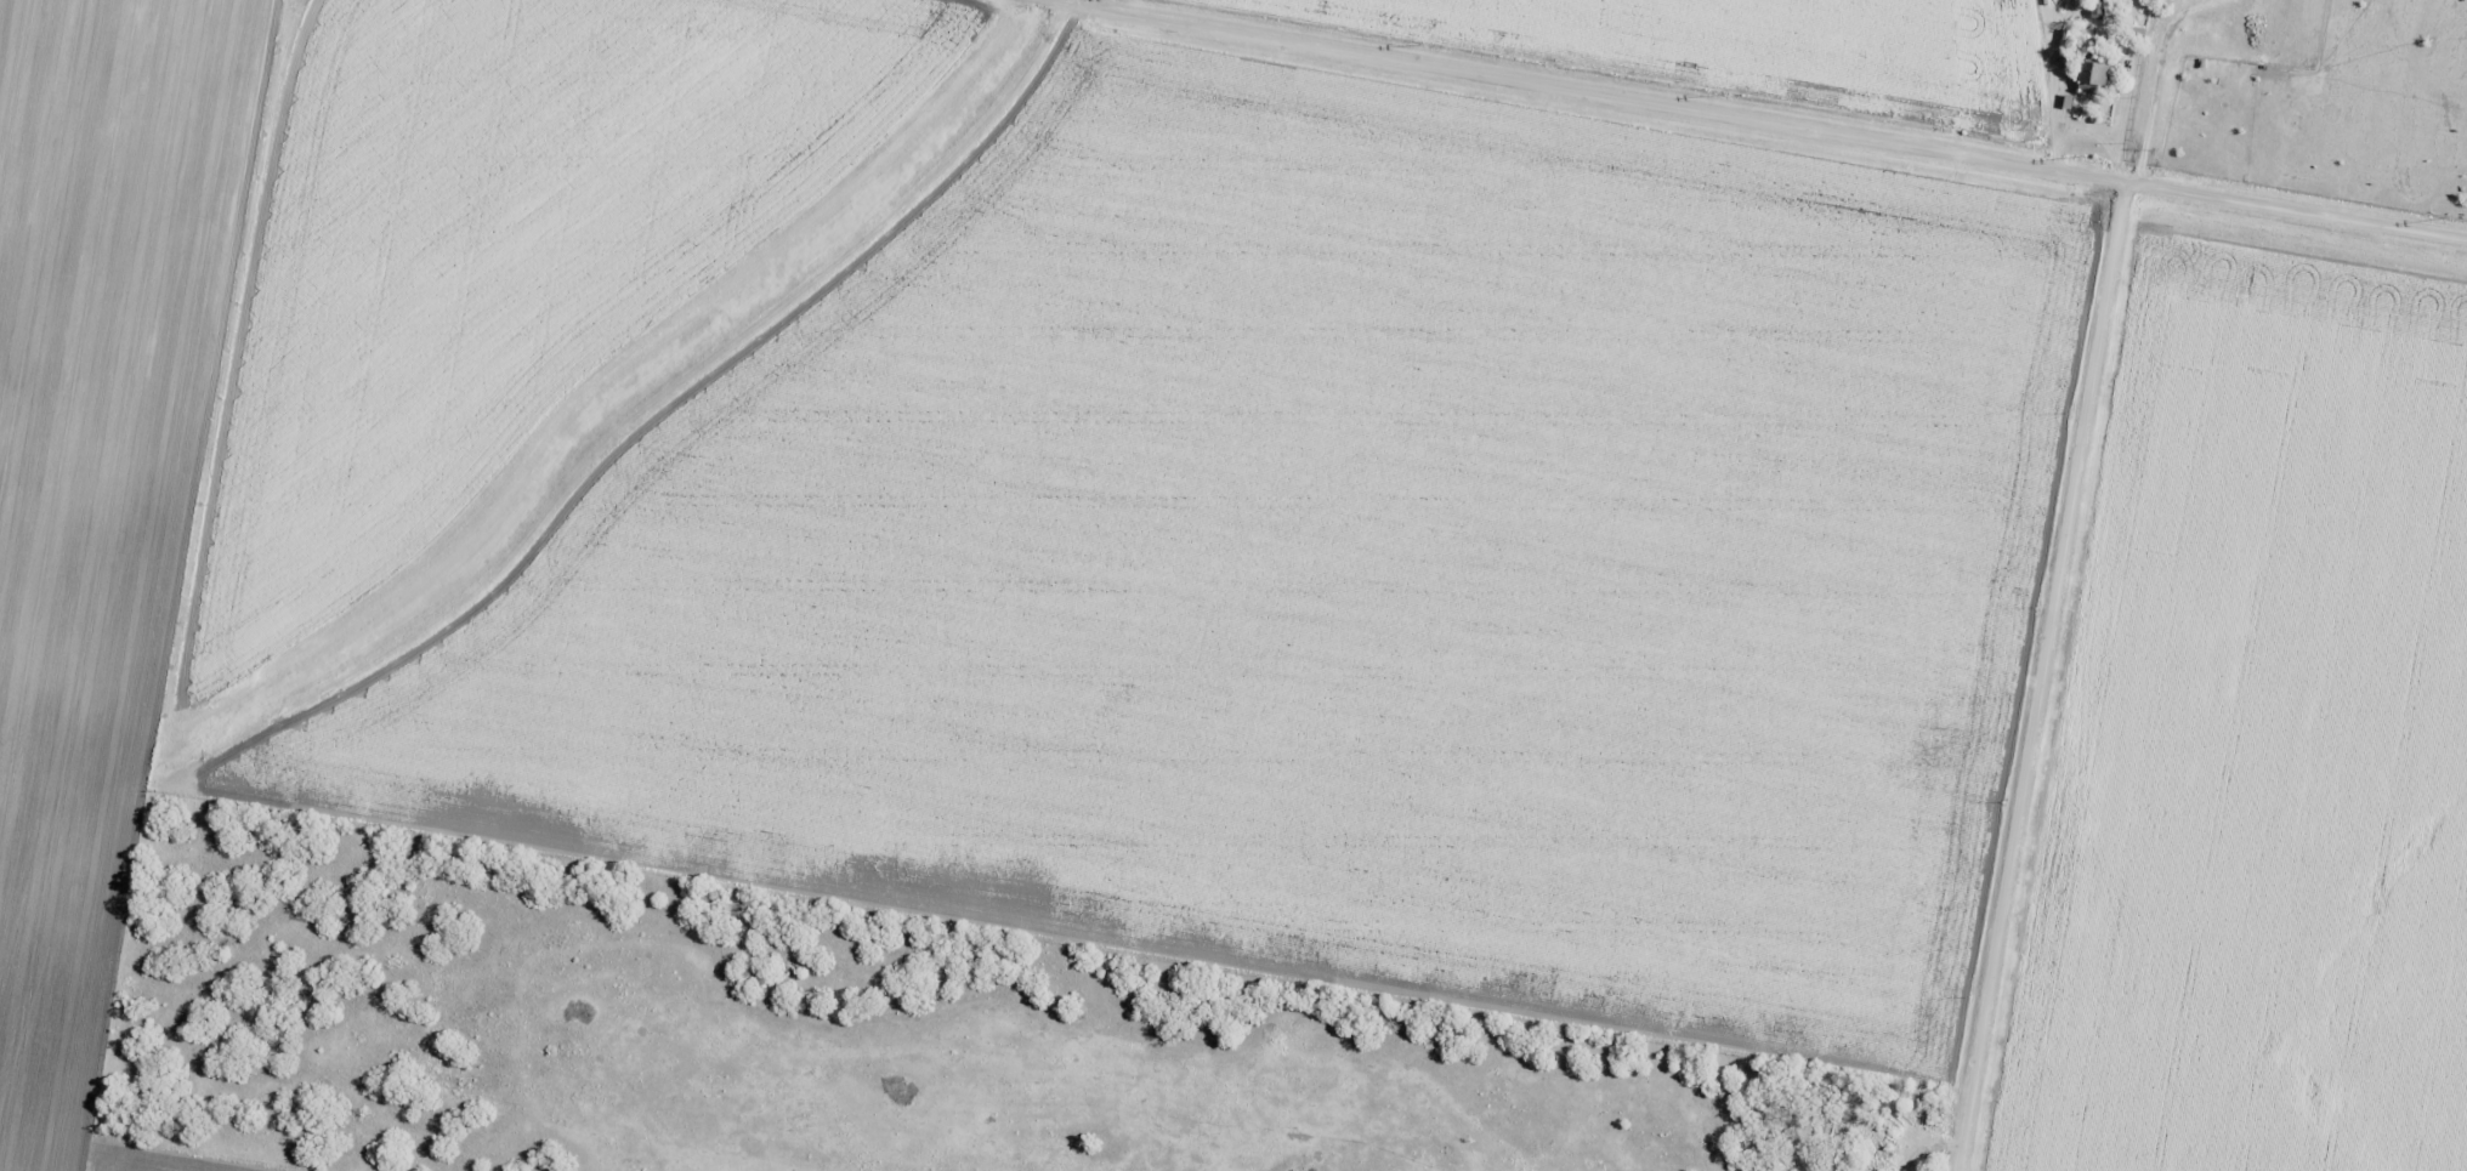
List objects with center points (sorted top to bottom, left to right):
building: (2092, 70)
road: (1764, 126)
road: (2045, 681)

